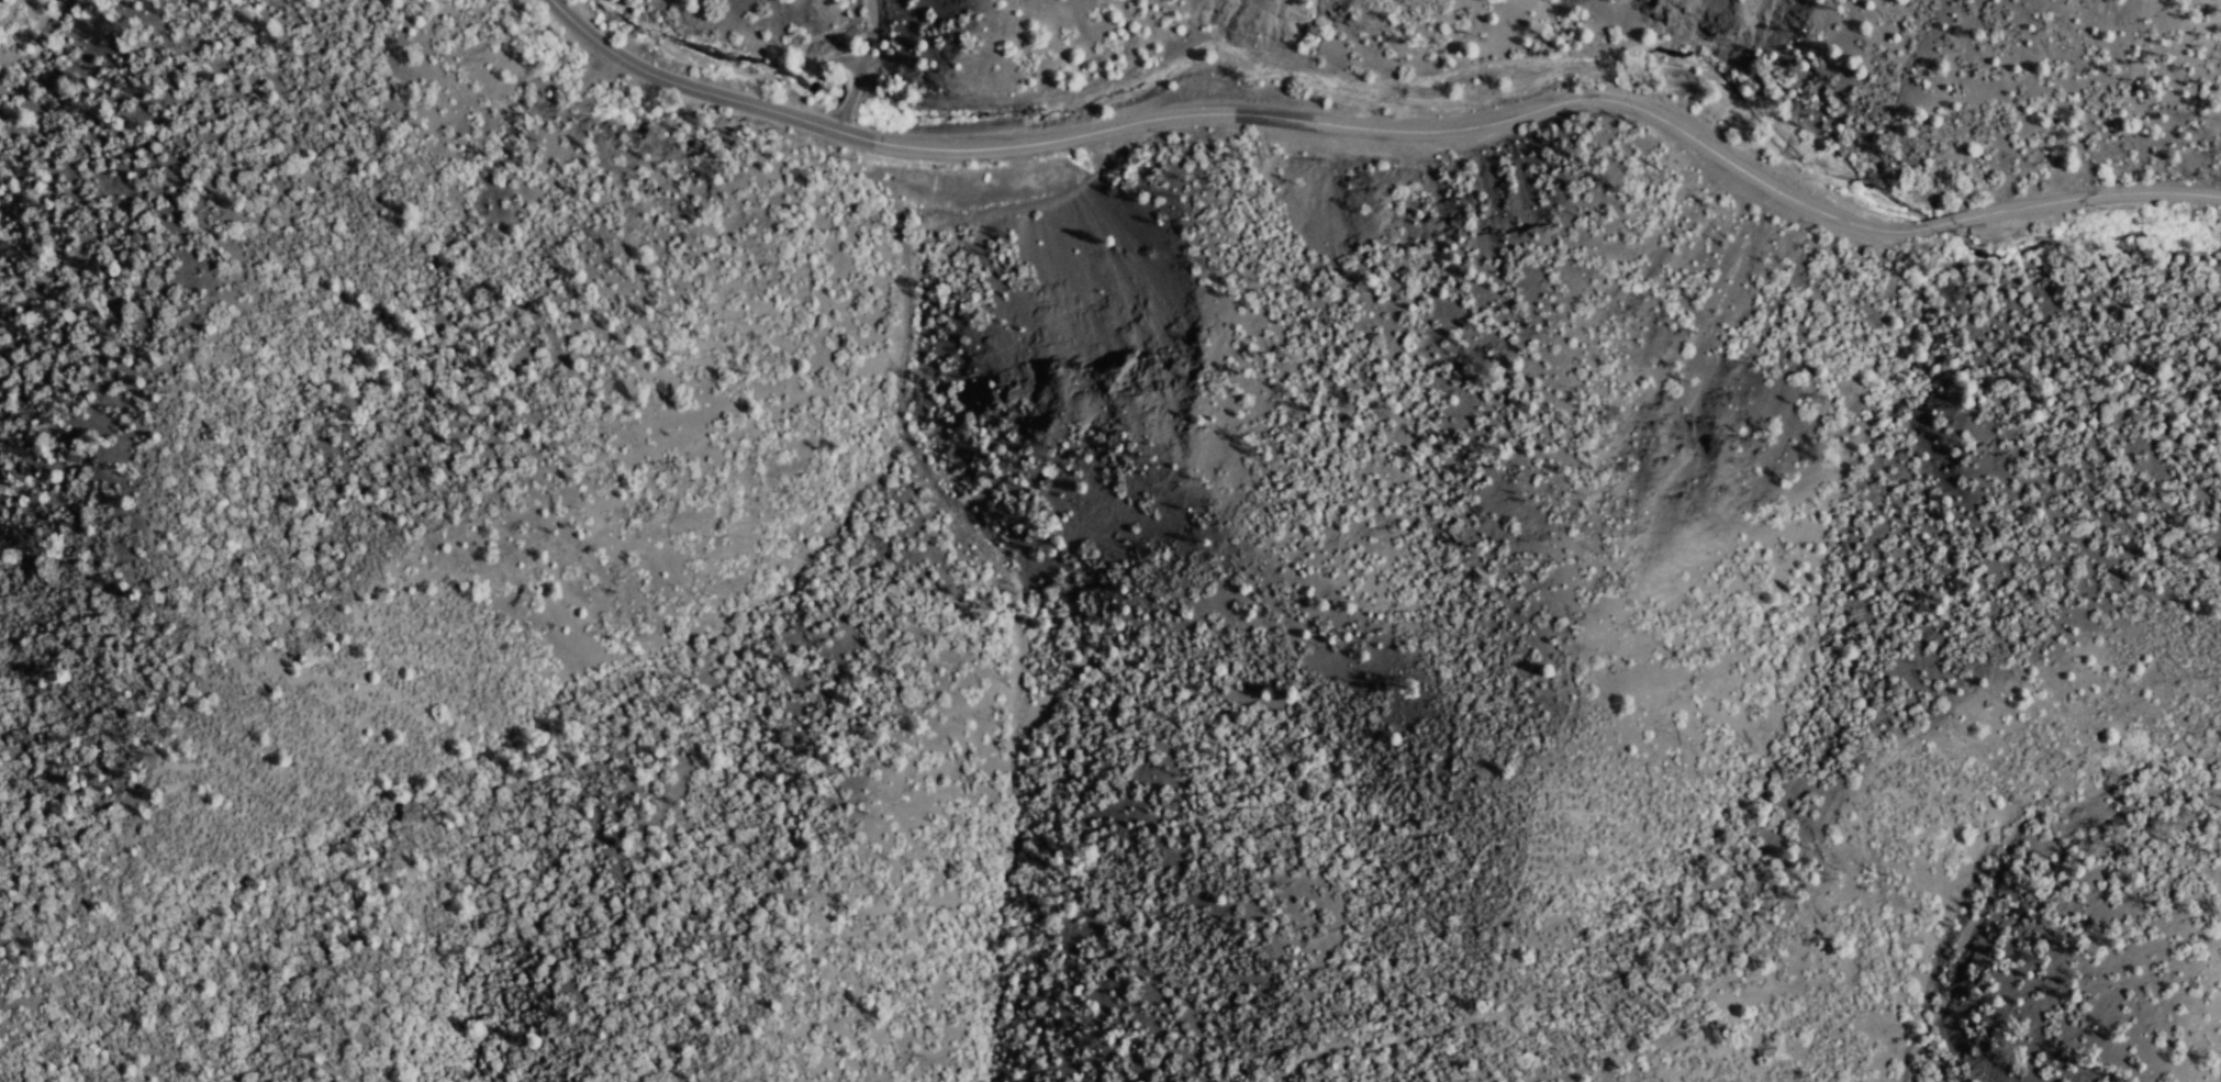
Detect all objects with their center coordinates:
road: (1229, 109)
road: (2091, 194)
road: (1939, 224)

